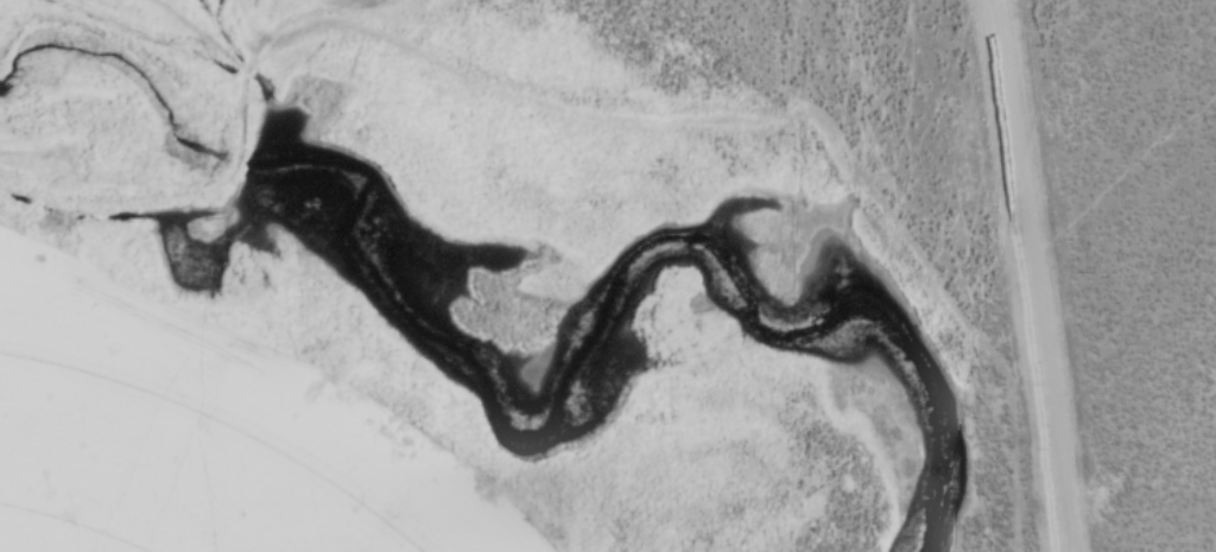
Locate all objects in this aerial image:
road: (236, 103)
airport runway: (1030, 275)
road: (1016, 277)
road: (195, 364)
road: (1049, 516)

